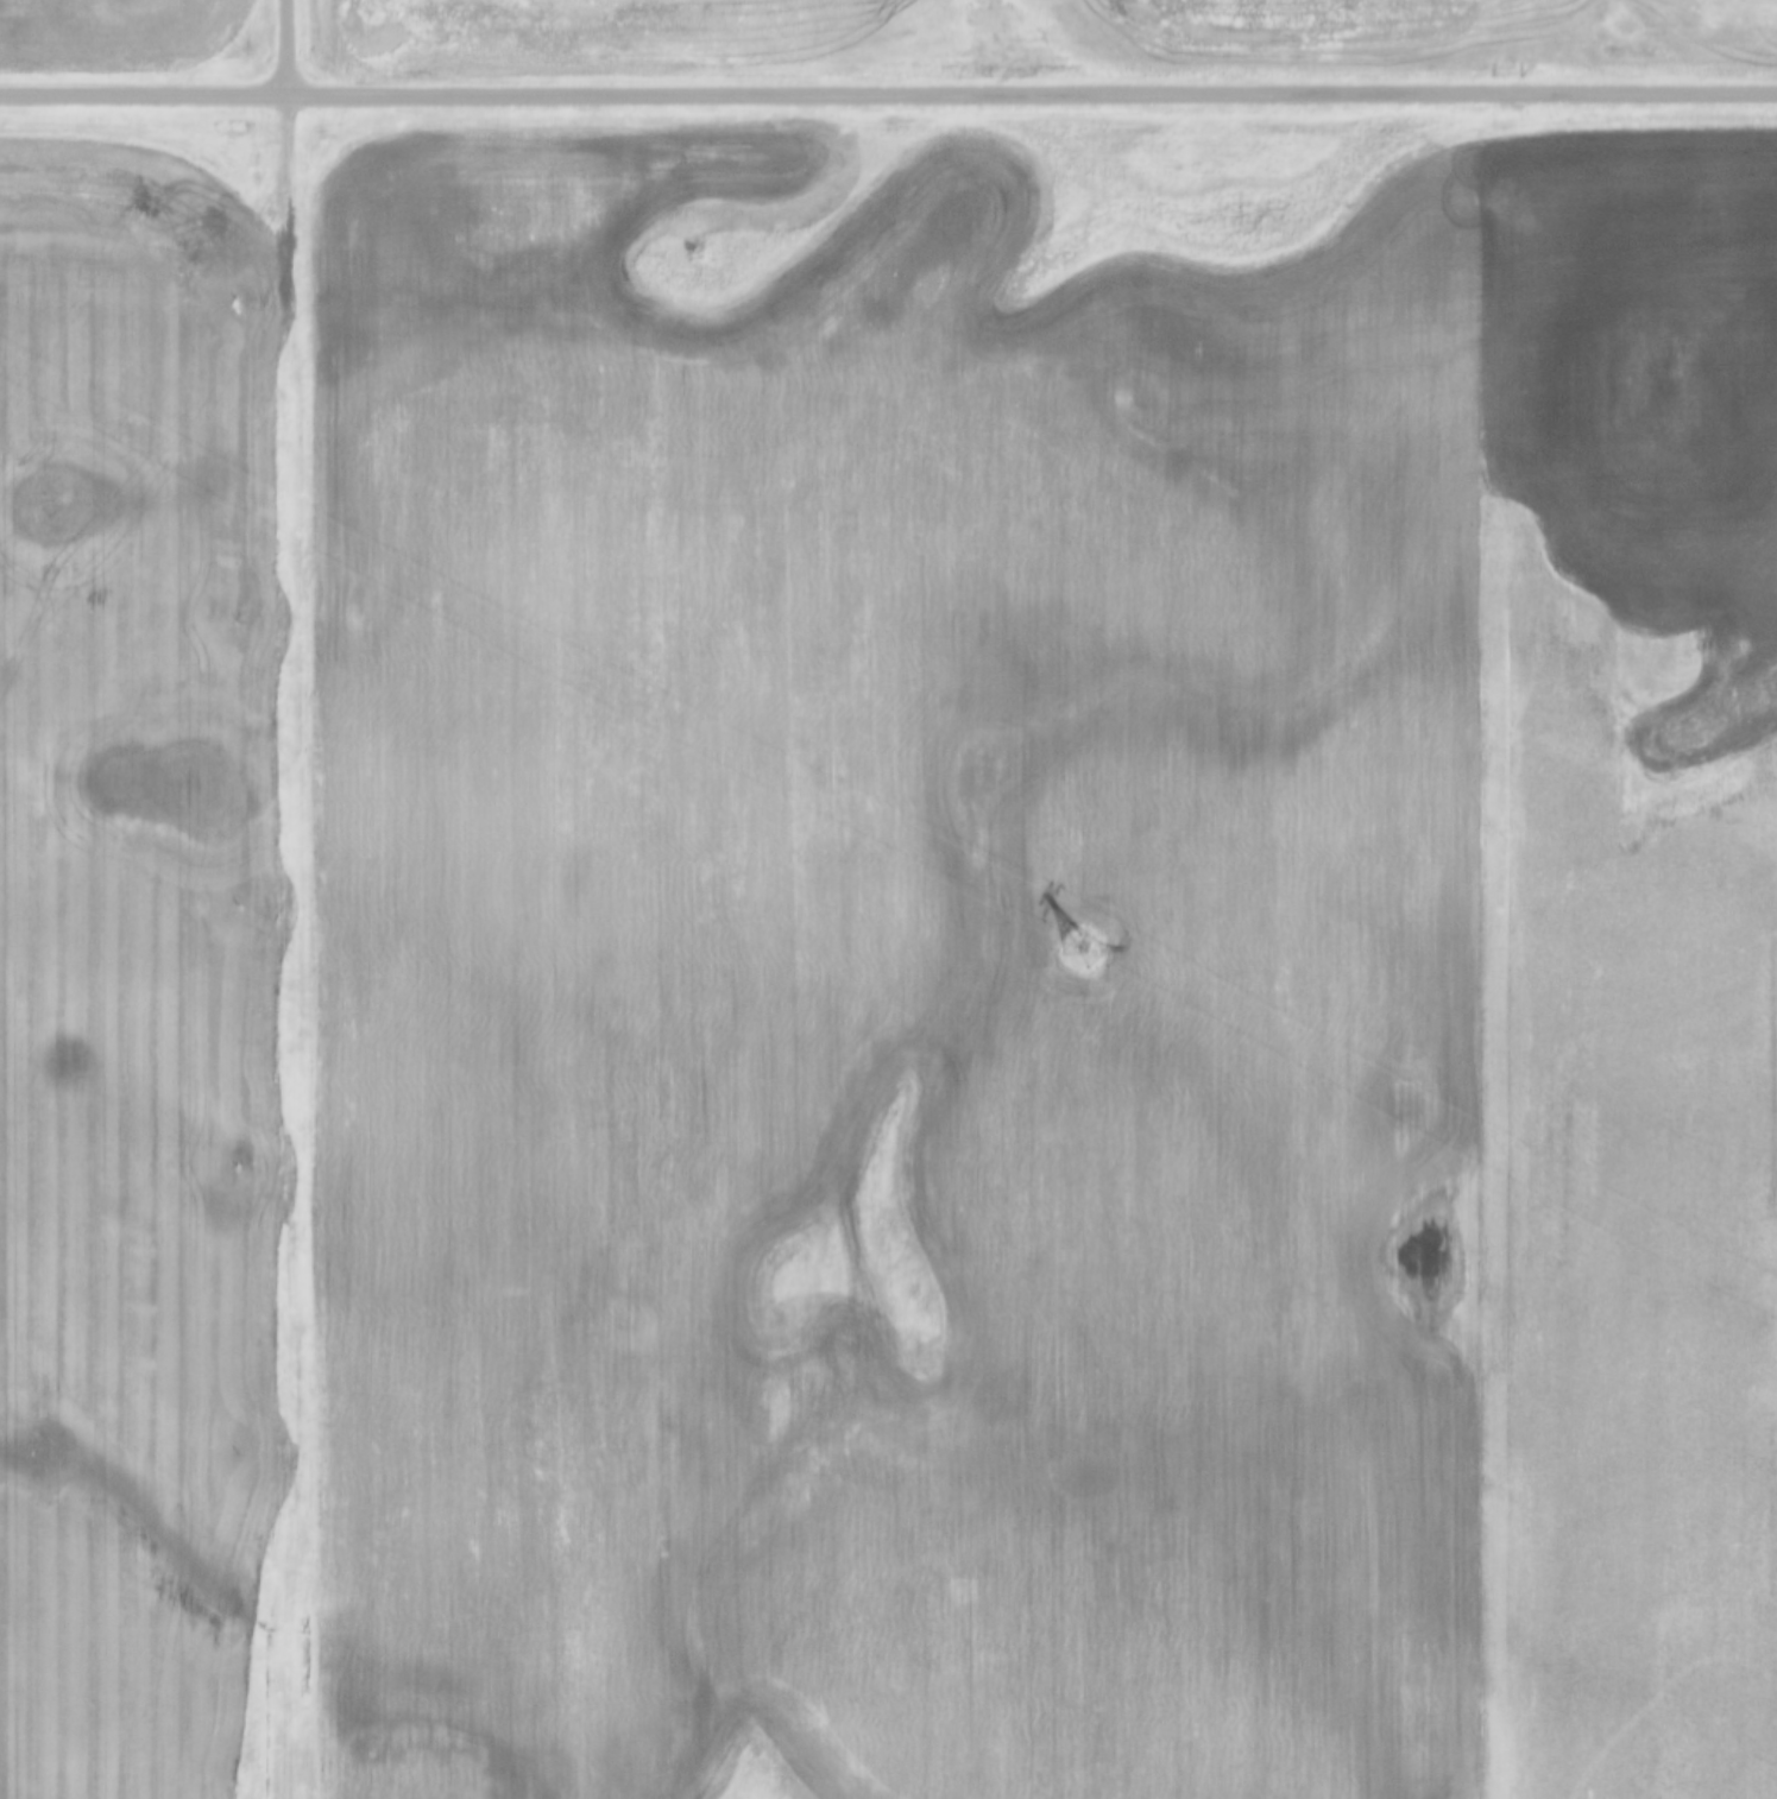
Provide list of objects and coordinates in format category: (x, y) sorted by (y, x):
road: (292, 45)
road: (888, 91)
road: (291, 945)
power tower: (1083, 947)

